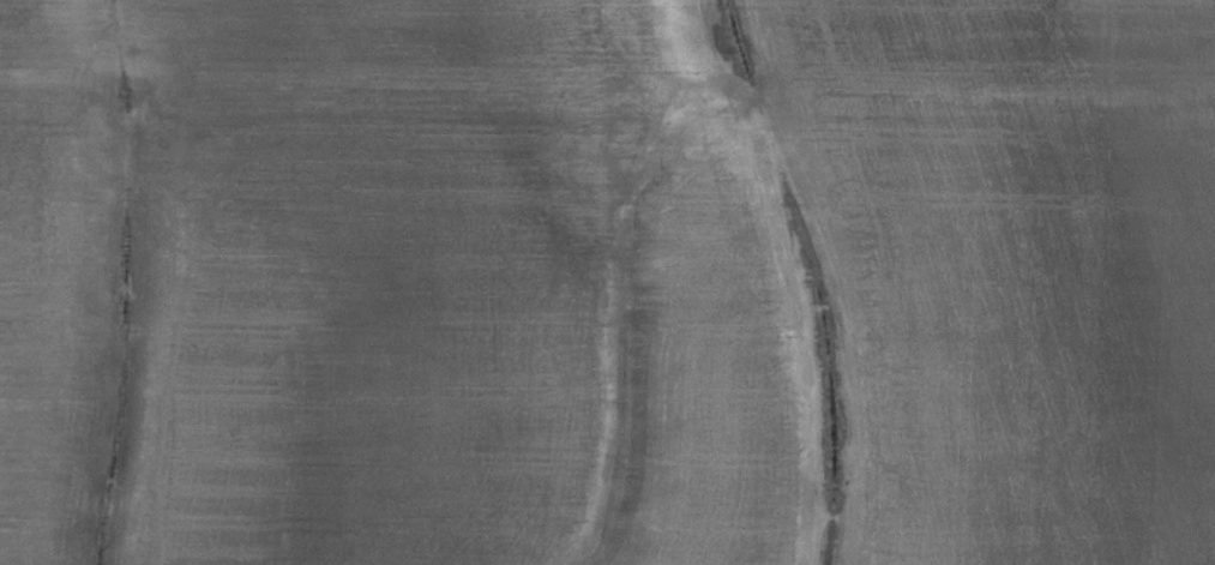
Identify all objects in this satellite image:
road: (612, 42)
road: (607, 84)

